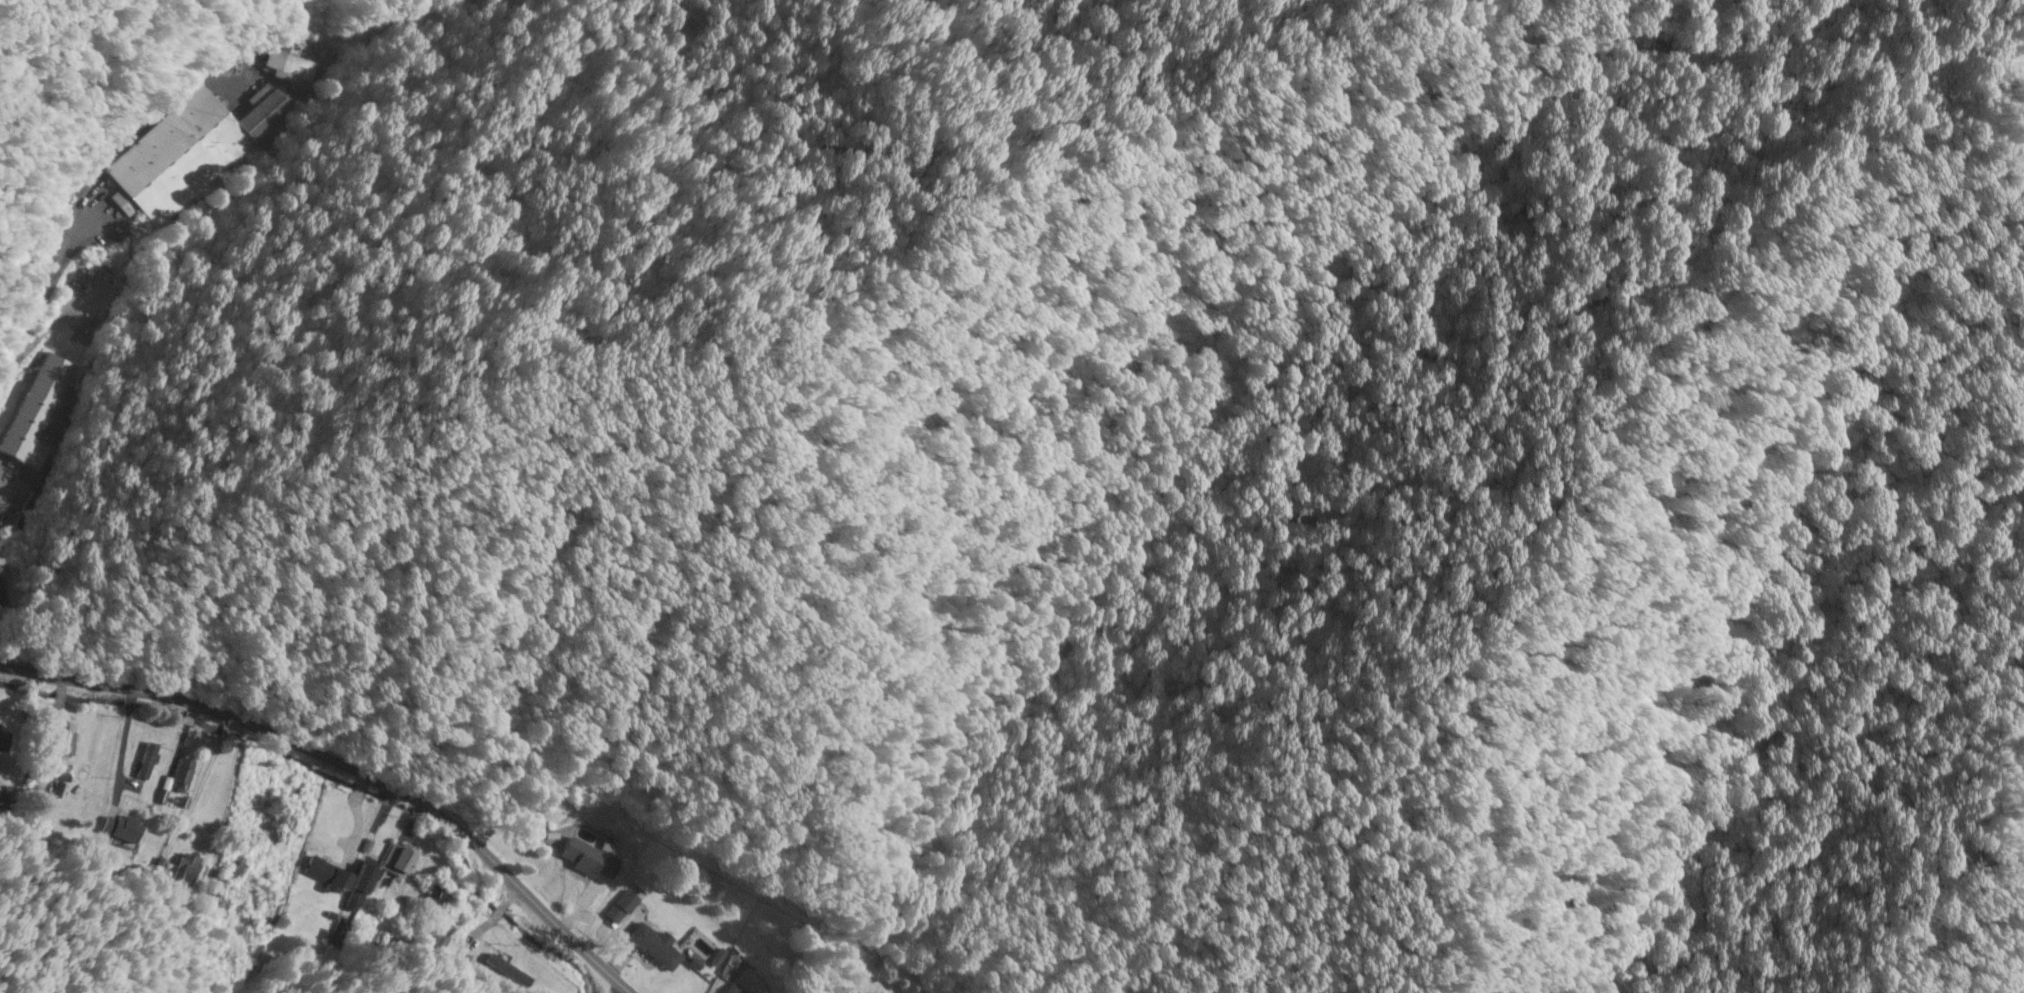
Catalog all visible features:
building: (287, 66)
building: (187, 150)
road: (68, 219)
building: (36, 412)
building: (23, 512)
building: (1, 564)
building: (4, 740)
building: (148, 761)
road: (356, 764)
building: (184, 776)
building: (120, 836)
building: (594, 858)
building: (187, 872)
building: (401, 874)
building: (331, 875)
building: (438, 900)
building: (623, 908)
building: (439, 947)
building: (659, 949)
building: (735, 990)

